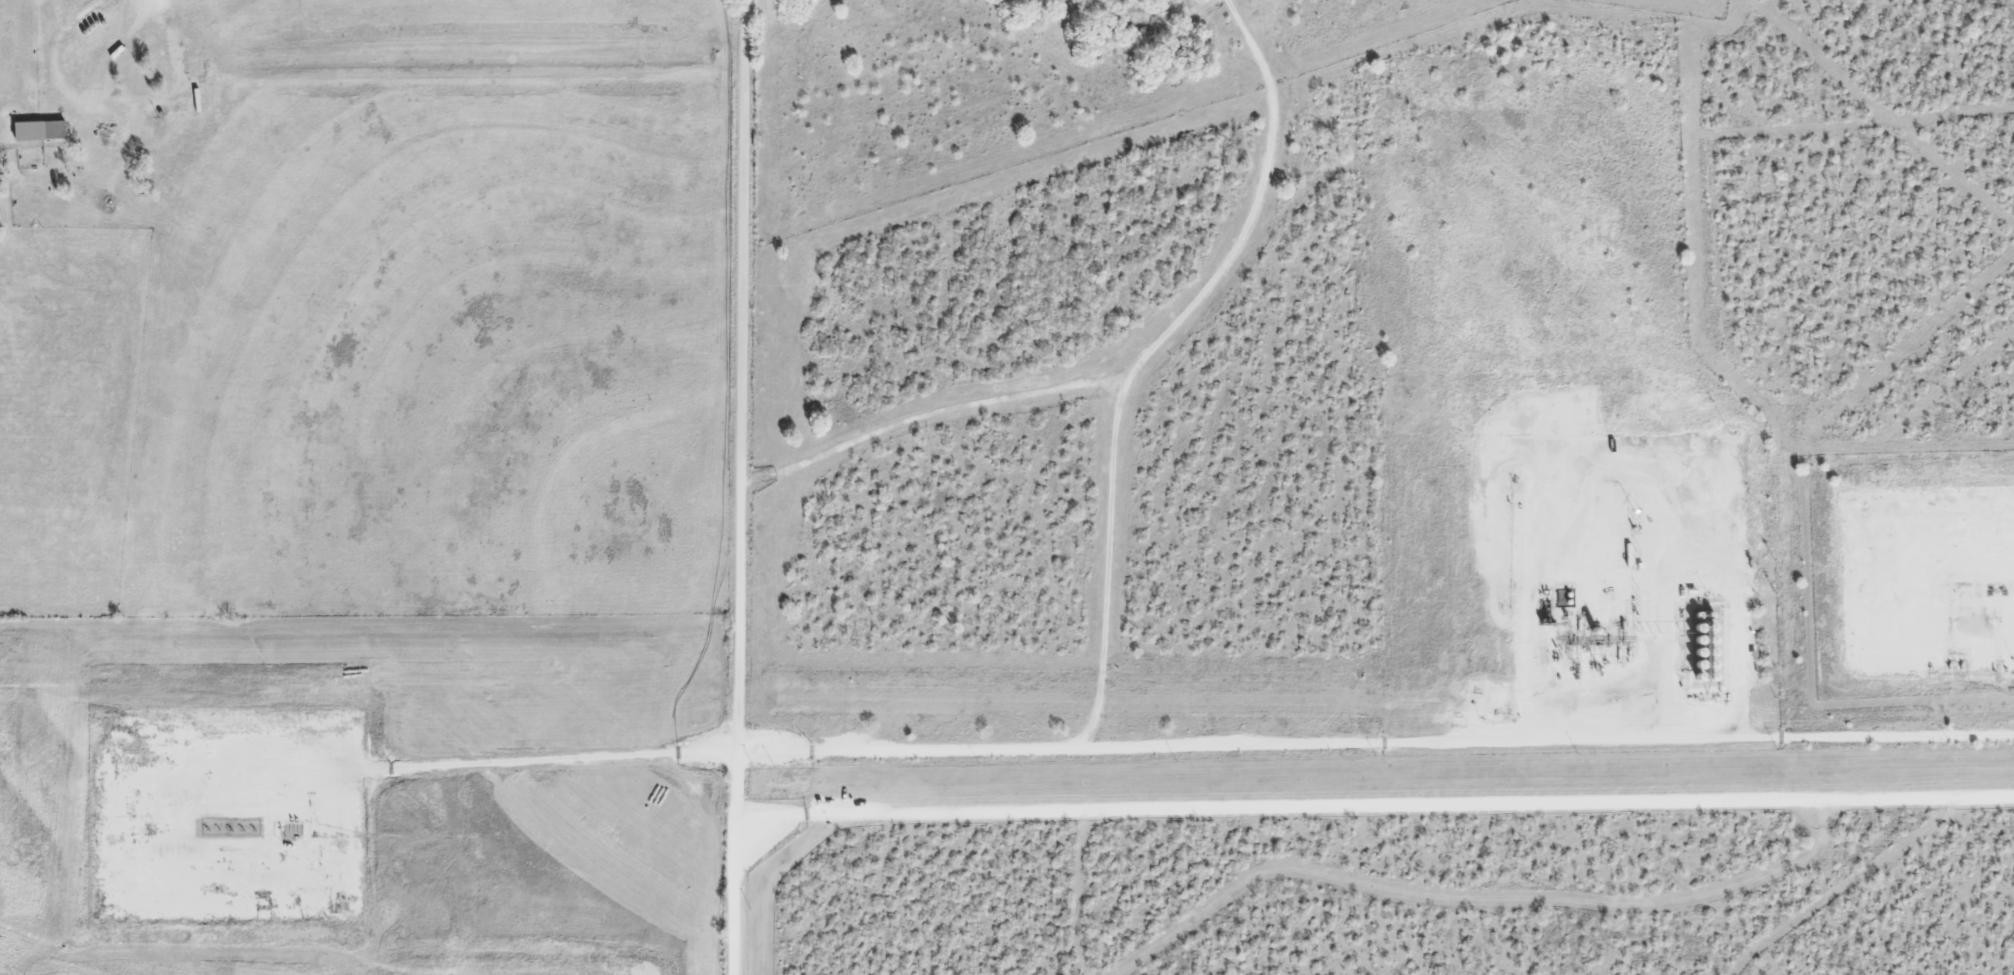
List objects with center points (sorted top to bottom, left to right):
building: (35, 129)
road: (1149, 352)
road: (930, 418)
road: (747, 487)
road: (1129, 743)

